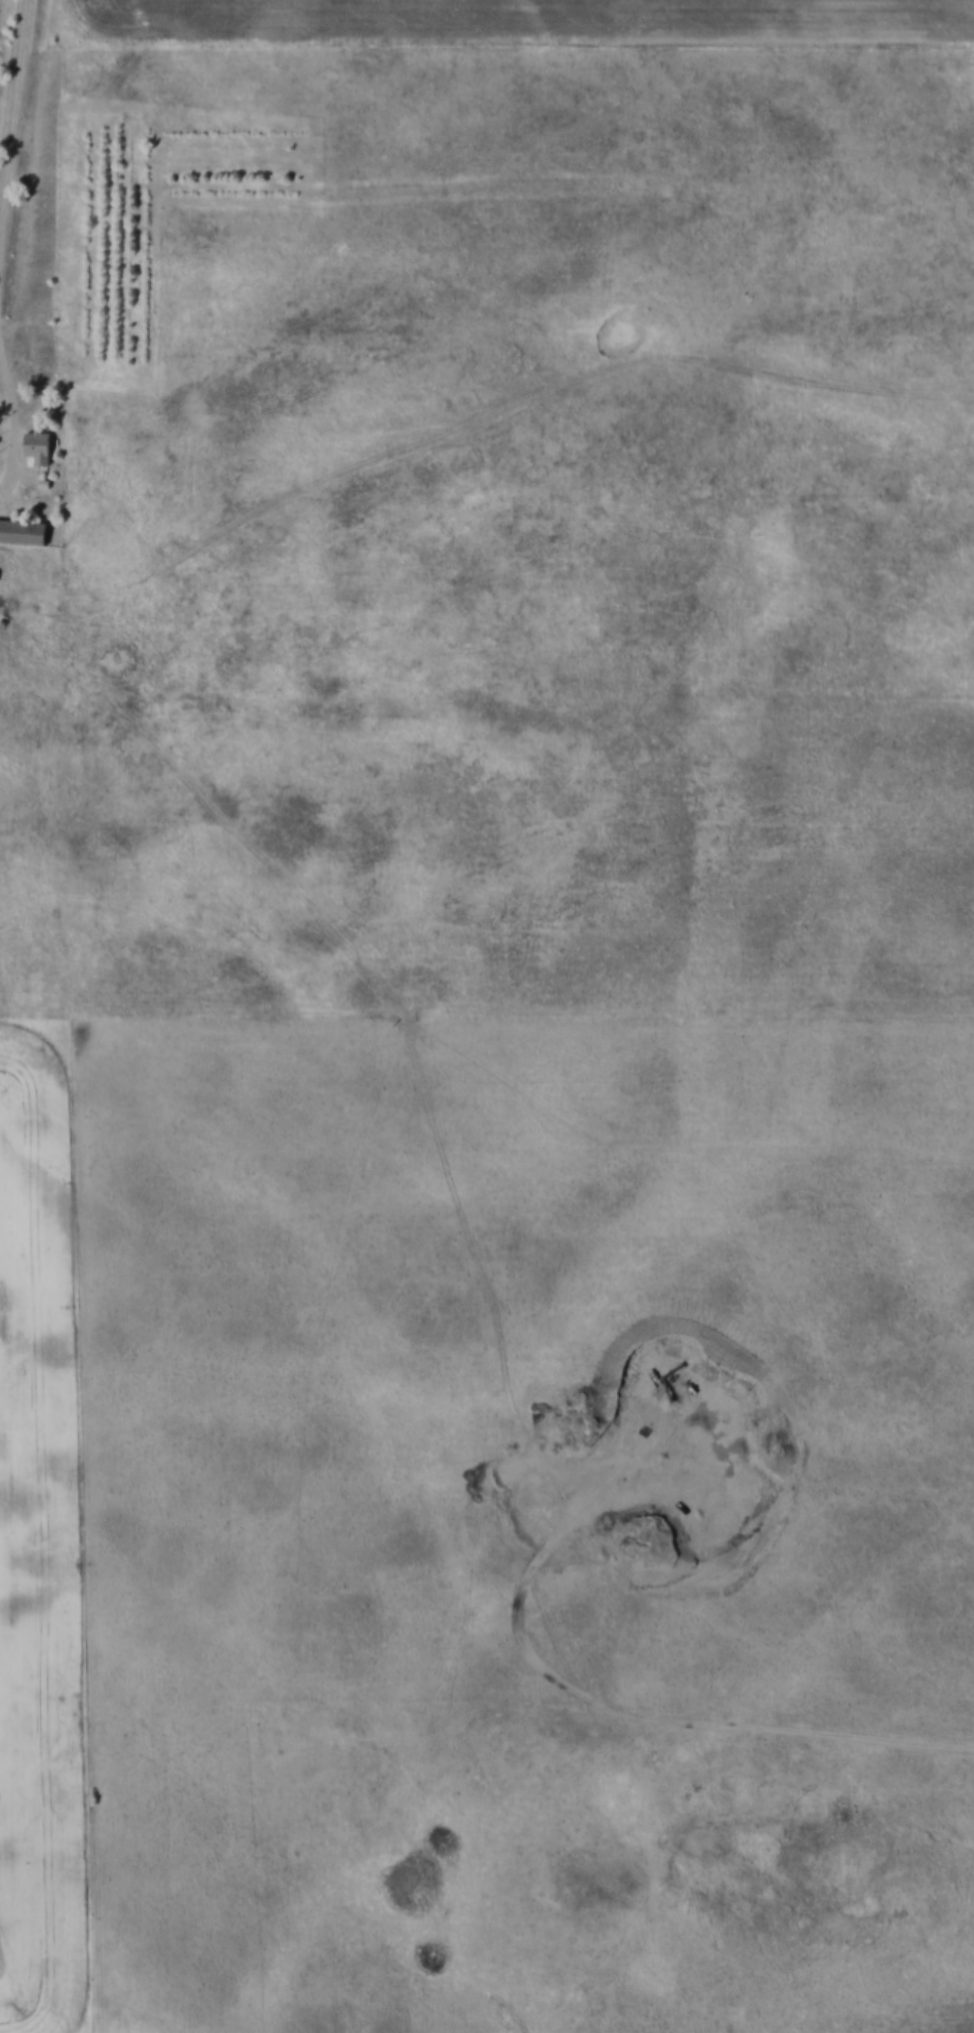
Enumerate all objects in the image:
road: (15, 140)
road: (14, 420)
building: (37, 446)
building: (48, 483)
building: (22, 532)
quarry: (628, 1472)
road: (636, 1718)

